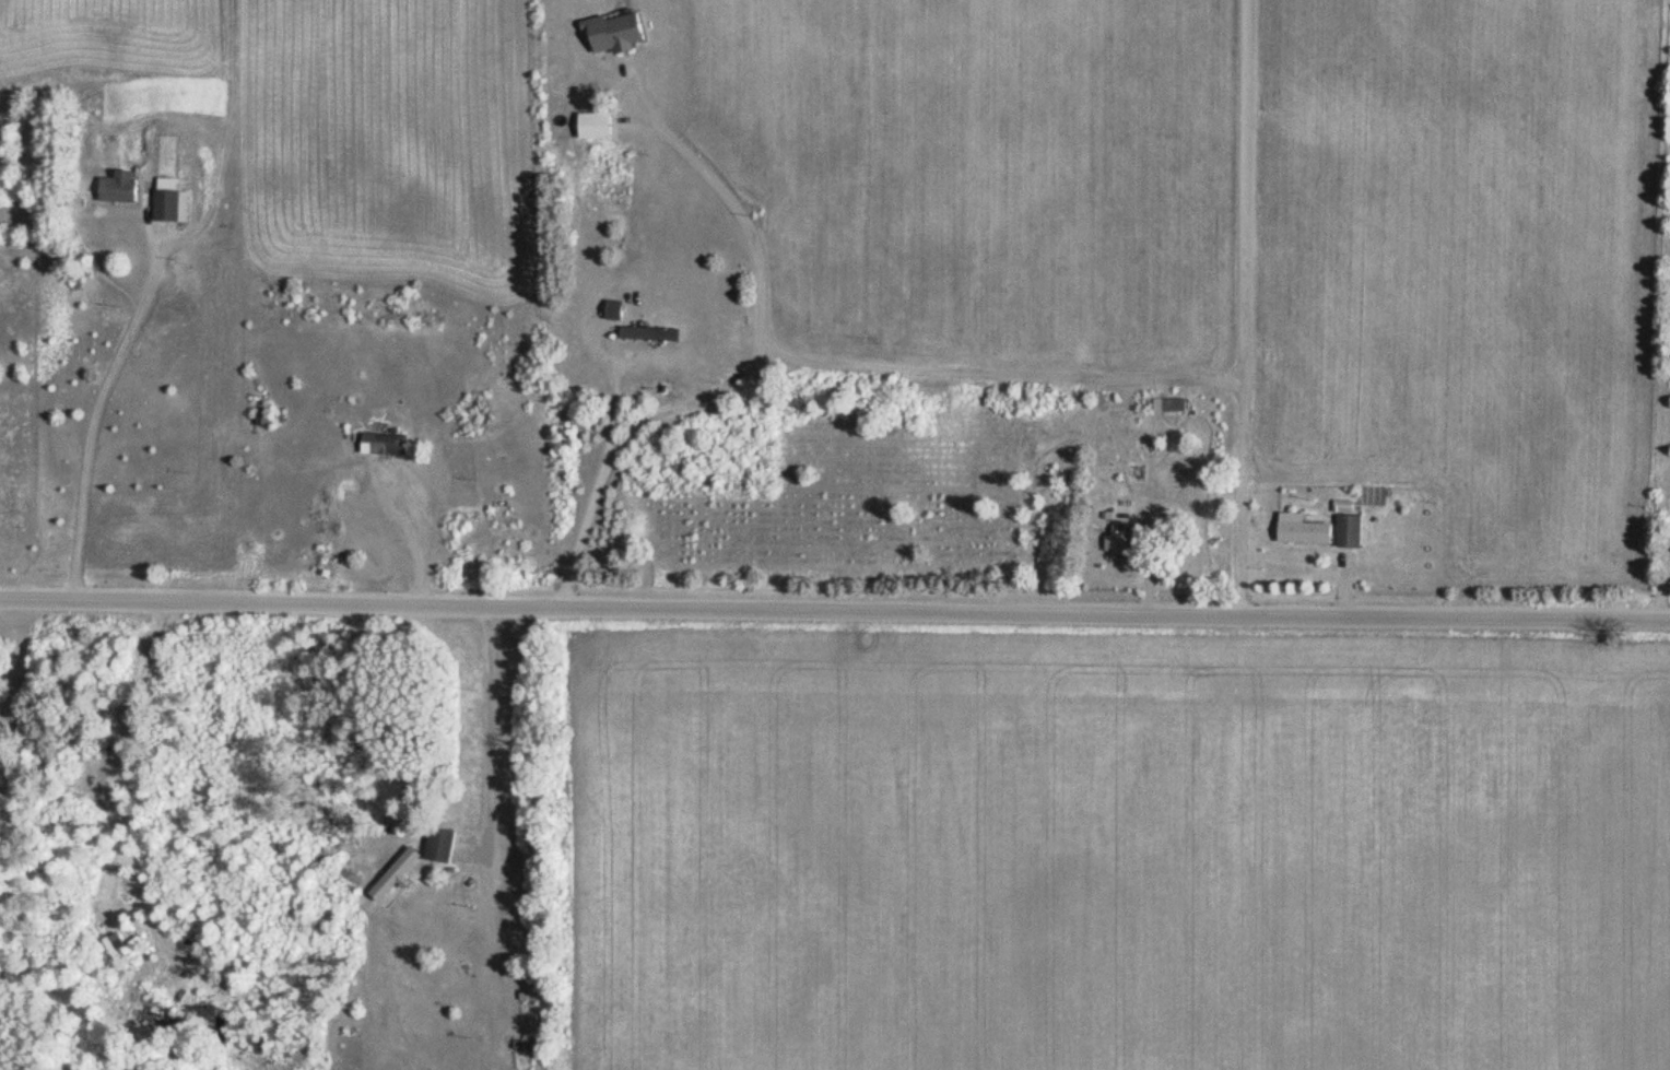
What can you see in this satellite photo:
building: (621, 31)
building: (600, 125)
building: (124, 187)
building: (175, 205)
road: (1246, 308)
road: (1654, 309)
building: (652, 333)
building: (389, 444)
building: (1307, 529)
building: (1352, 530)
building: (1121, 540)
road: (834, 611)
road: (11, 764)
building: (445, 843)
building: (401, 873)
road: (531, 905)
building: (528, 1044)

